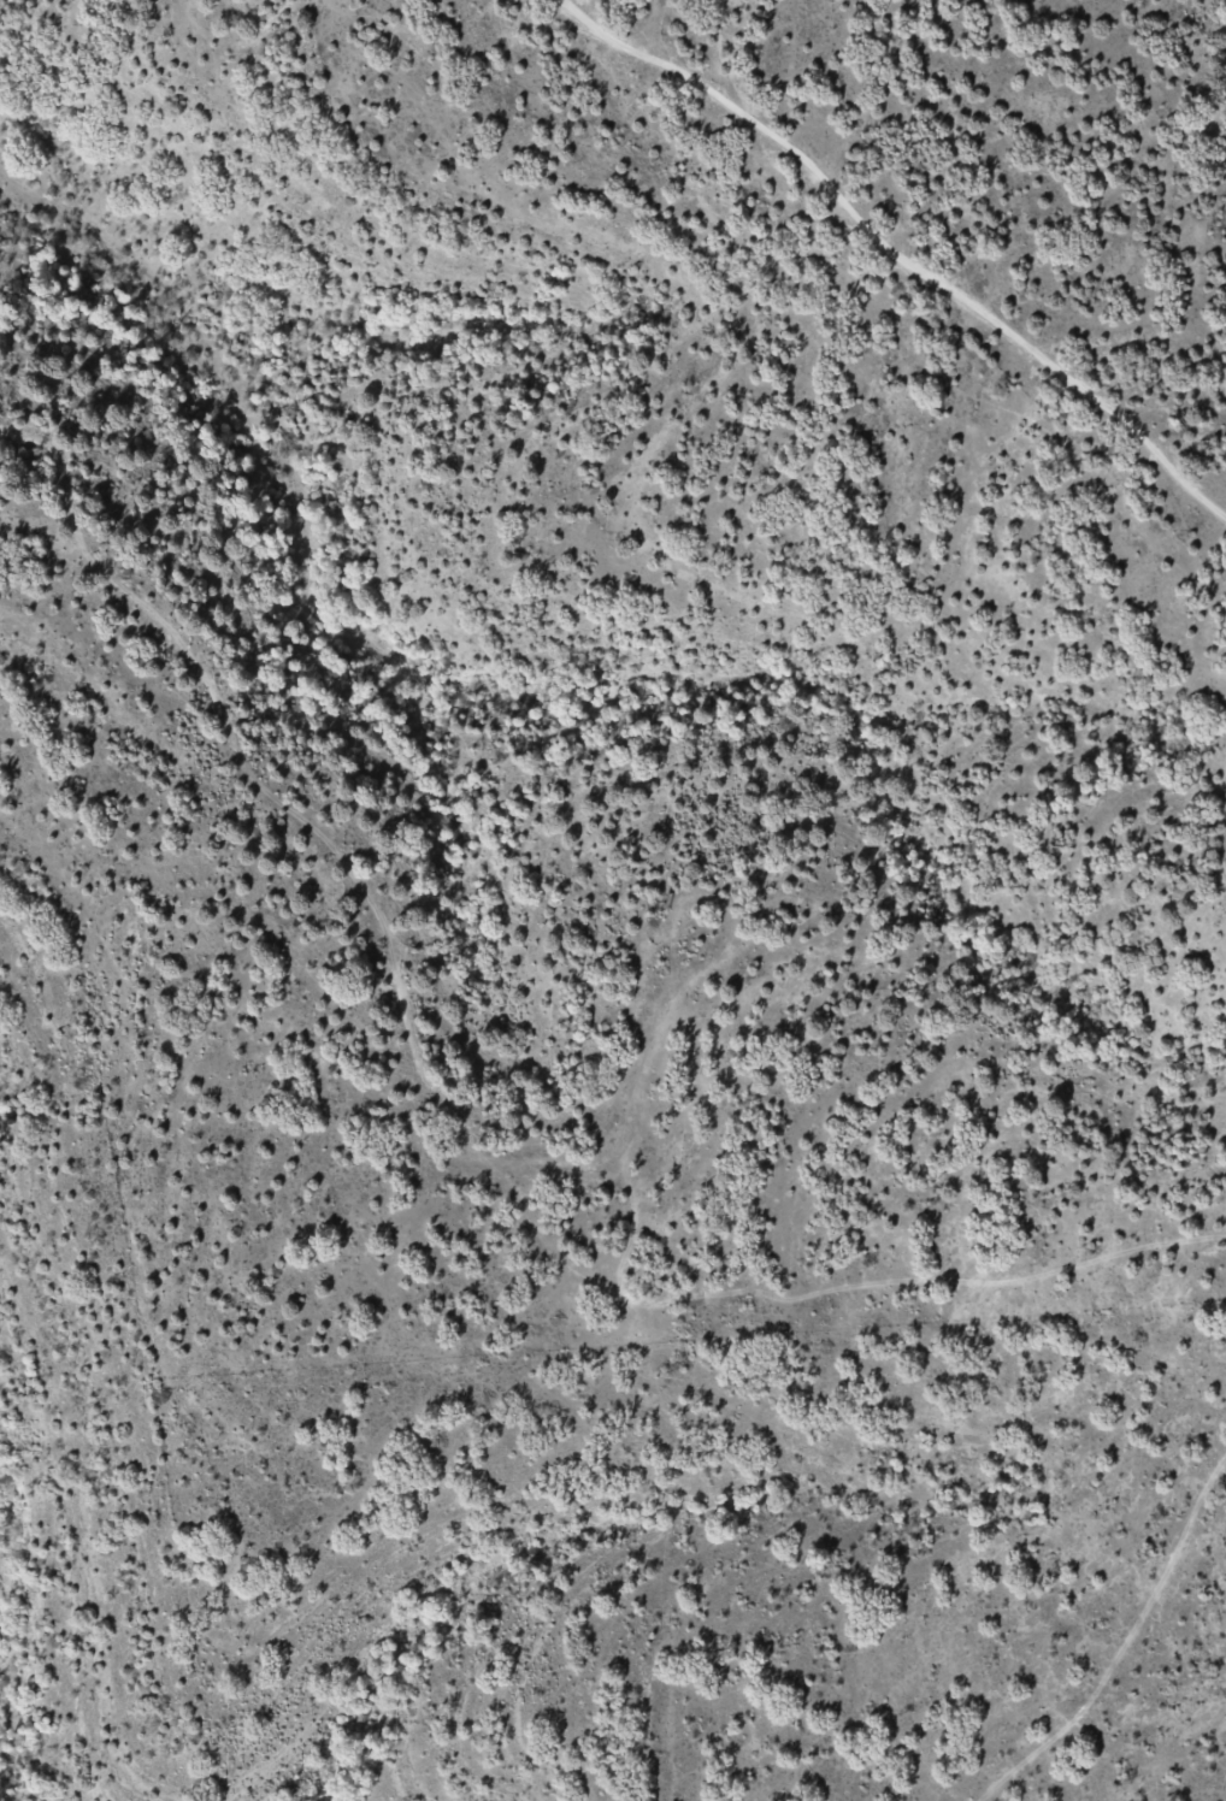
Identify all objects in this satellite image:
road: (837, 225)

